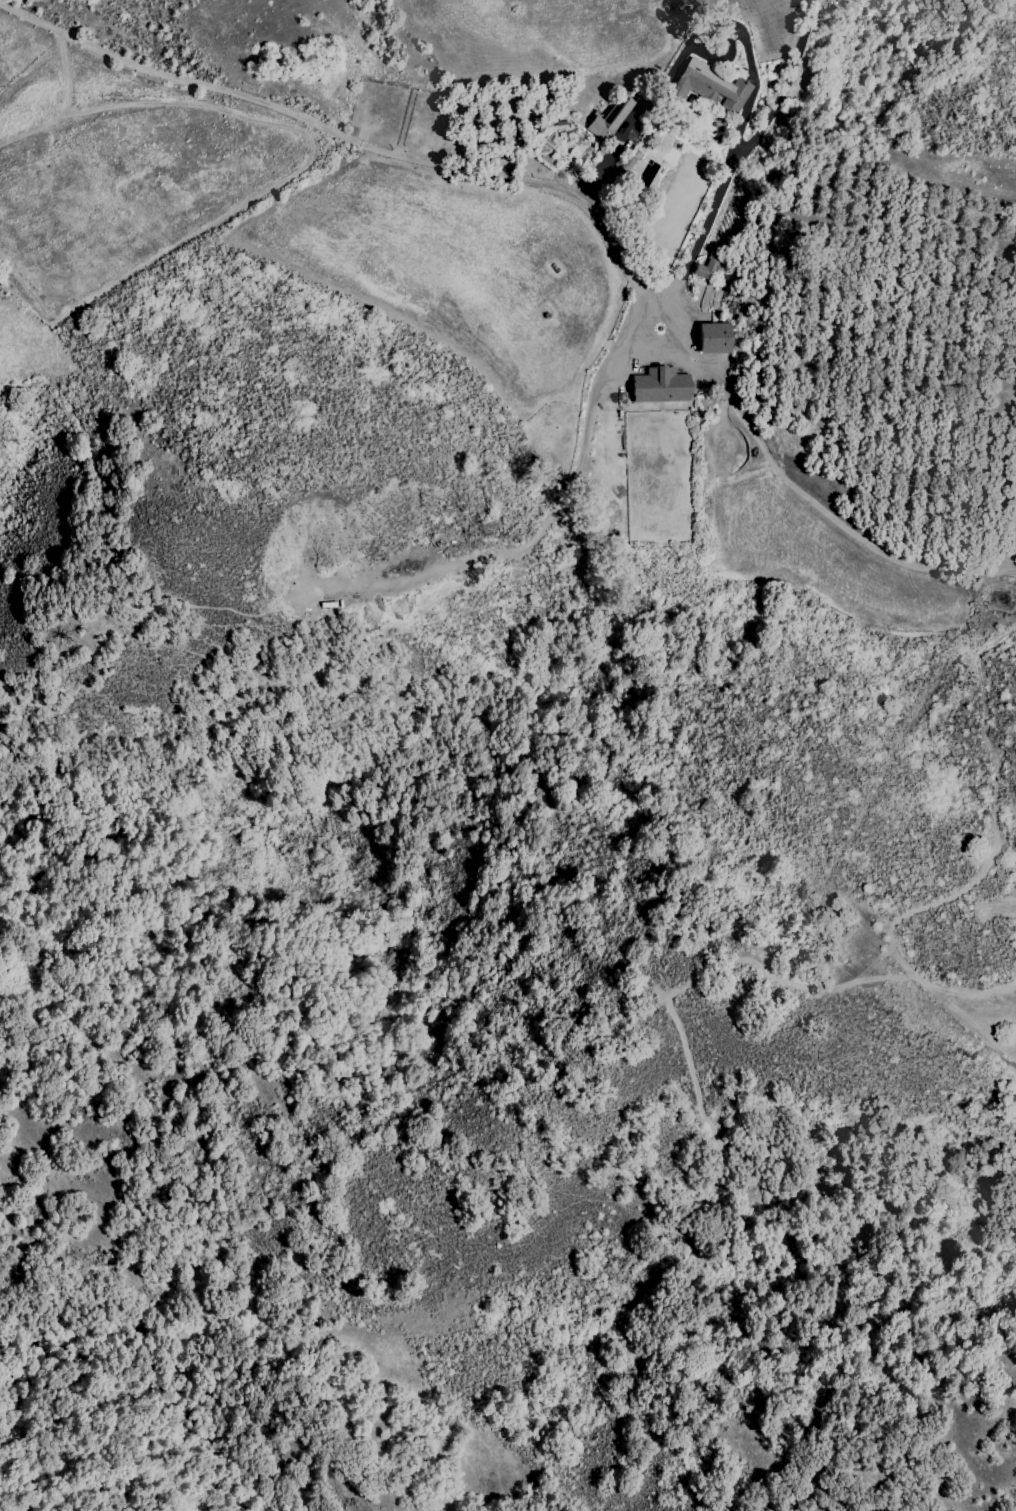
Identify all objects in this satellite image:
building: (705, 87)
building: (607, 119)
building: (622, 162)
road: (511, 180)
building: (705, 271)
building: (709, 339)
building: (656, 386)

